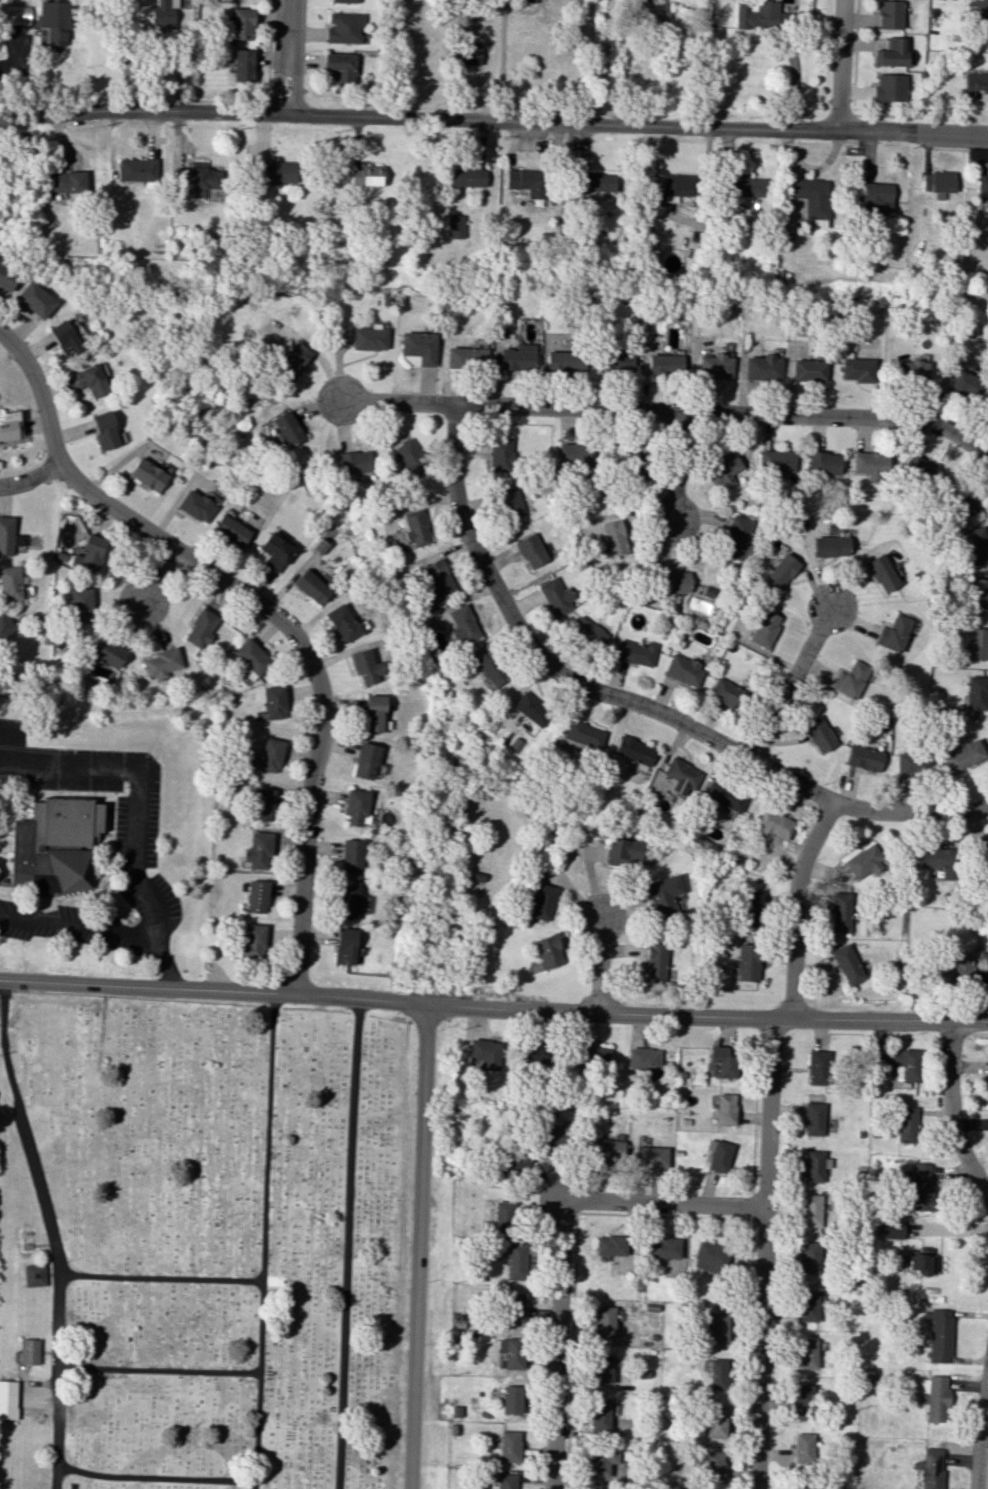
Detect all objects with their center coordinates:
building: (527, 0)
building: (345, 1)
building: (980, 10)
building: (653, 11)
building: (17, 14)
building: (163, 14)
building: (756, 14)
building: (889, 14)
building: (52, 22)
building: (241, 23)
building: (344, 27)
building: (891, 52)
building: (467, 53)
road: (286, 57)
road: (502, 60)
road: (607, 61)
building: (242, 65)
road: (842, 65)
building: (340, 66)
building: (974, 85)
building: (890, 87)
road: (493, 120)
road: (960, 148)
building: (136, 170)
building: (276, 173)
building: (366, 175)
building: (466, 177)
building: (204, 178)
building: (68, 181)
building: (595, 181)
building: (981, 181)
building: (526, 182)
building: (938, 182)
building: (743, 187)
building: (676, 188)
building: (810, 196)
building: (875, 197)
building: (454, 226)
building: (6, 278)
building: (34, 299)
building: (64, 338)
building: (369, 338)
building: (418, 346)
building: (467, 354)
building: (517, 357)
building: (564, 361)
building: (291, 362)
building: (617, 362)
building: (665, 364)
building: (714, 366)
building: (762, 367)
building: (857, 369)
building: (808, 370)
building: (912, 371)
building: (90, 380)
building: (964, 384)
road: (40, 392)
road: (398, 402)
road: (710, 411)
building: (8, 425)
building: (286, 429)
building: (104, 430)
road: (976, 449)
building: (574, 454)
building: (500, 455)
building: (409, 457)
building: (777, 461)
building: (354, 462)
building: (635, 463)
building: (824, 463)
building: (871, 465)
road: (675, 467)
building: (723, 468)
building: (920, 468)
building: (147, 474)
road: (31, 478)
building: (510, 502)
building: (962, 504)
building: (195, 505)
building: (414, 526)
building: (230, 530)
building: (9, 537)
building: (613, 537)
building: (736, 538)
building: (976, 545)
building: (830, 546)
building: (531, 550)
building: (275, 551)
building: (89, 554)
building: (780, 571)
building: (882, 572)
road: (159, 577)
building: (439, 581)
building: (674, 581)
building: (10, 583)
building: (311, 586)
building: (979, 594)
building: (556, 596)
building: (80, 606)
building: (342, 623)
building: (462, 625)
building: (5, 628)
building: (201, 628)
building: (764, 628)
building: (587, 631)
building: (894, 633)
building: (977, 644)
building: (107, 652)
building: (634, 652)
building: (251, 658)
building: (162, 663)
building: (365, 666)
road: (316, 667)
building: (489, 668)
building: (850, 679)
road: (791, 683)
building: (725, 692)
building: (977, 692)
building: (274, 702)
road: (633, 702)
building: (531, 709)
building: (372, 713)
building: (583, 734)
building: (819, 734)
road: (18, 743)
building: (633, 750)
building: (270, 755)
building: (963, 757)
building: (865, 758)
building: (365, 760)
building: (912, 763)
building: (677, 776)
road: (140, 789)
building: (724, 796)
building: (263, 804)
building: (355, 806)
building: (774, 824)
parking lot: (136, 830)
building: (54, 846)
building: (257, 850)
building: (623, 850)
building: (351, 856)
building: (984, 856)
building: (863, 861)
building: (937, 861)
building: (256, 896)
building: (664, 896)
building: (347, 902)
building: (541, 902)
road: (793, 904)
building: (749, 906)
building: (840, 912)
parking lot: (74, 927)
road: (80, 928)
building: (252, 940)
building: (344, 946)
building: (547, 951)
building: (655, 962)
building: (746, 962)
road: (166, 963)
road: (601, 965)
building: (848, 965)
building: (951, 969)
road: (493, 1009)
road: (102, 1028)
building: (484, 1053)
building: (533, 1053)
building: (595, 1054)
building: (643, 1058)
building: (723, 1060)
building: (817, 1067)
building: (987, 1078)
building: (724, 1109)
road: (949, 1112)
building: (813, 1118)
building: (906, 1124)
building: (553, 1138)
building: (608, 1148)
building: (717, 1155)
building: (650, 1156)
building: (814, 1165)
building: (918, 1187)
road: (665, 1202)
building: (809, 1210)
building: (501, 1216)
building: (891, 1229)
road: (48, 1232)
road: (263, 1240)
park: (203, 1243)
road: (347, 1243)
building: (609, 1245)
road: (417, 1246)
building: (662, 1247)
road: (762, 1252)
building: (709, 1257)
building: (809, 1257)
building: (516, 1261)
building: (922, 1261)
building: (34, 1275)
road: (160, 1279)
building: (807, 1306)
building: (514, 1307)
building: (603, 1321)
building: (713, 1325)
building: (938, 1334)
road: (557, 1341)
building: (28, 1351)
building: (511, 1352)
building: (806, 1353)
building: (601, 1369)
road: (158, 1370)
building: (716, 1373)
building: (932, 1397)
building: (8, 1399)
building: (511, 1399)
building: (802, 1399)
building: (599, 1416)
building: (713, 1421)
road: (979, 1429)
building: (509, 1446)
building: (802, 1447)
building: (601, 1460)
building: (712, 1466)
building: (930, 1468)
road: (153, 1478)
building: (506, 1481)

